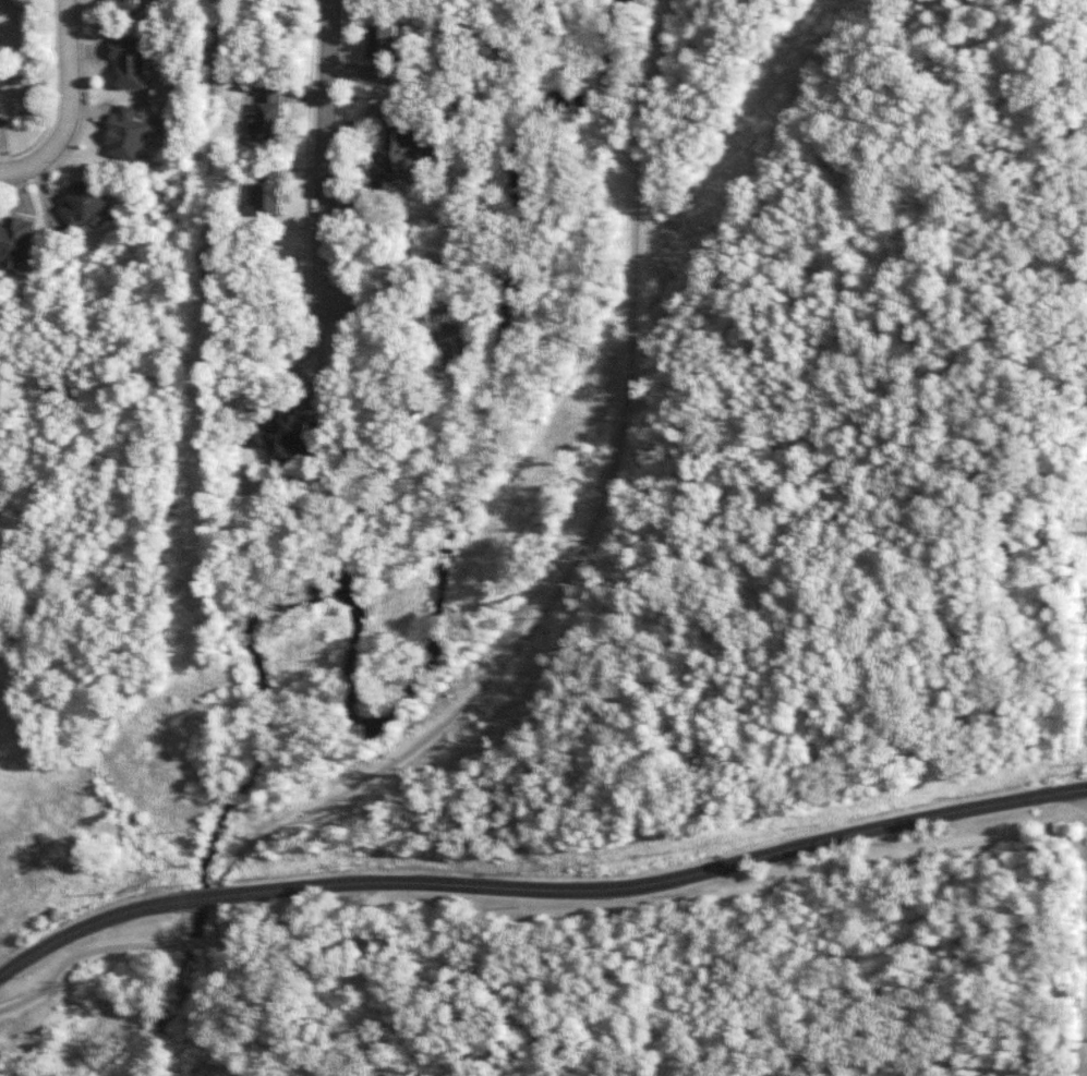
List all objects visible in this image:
building: (126, 7)
building: (383, 51)
building: (128, 60)
building: (0, 77)
building: (1, 104)
road: (70, 106)
building: (269, 113)
building: (126, 134)
building: (398, 152)
road: (321, 153)
building: (86, 204)
building: (16, 242)
building: (281, 436)
road: (579, 552)
road: (661, 882)
road: (206, 898)
road: (87, 923)
road: (190, 944)
road: (77, 957)
road: (364, 999)
road: (1085, 1036)
road: (381, 1057)

